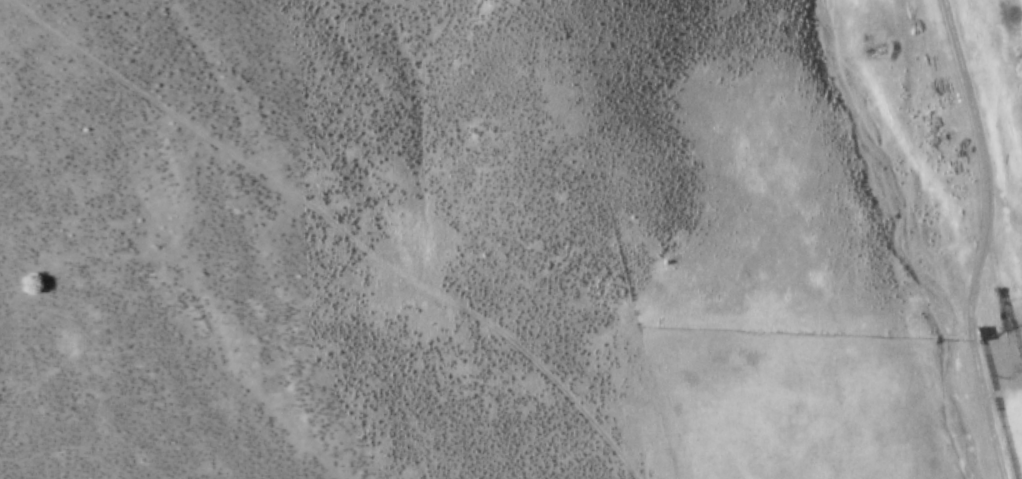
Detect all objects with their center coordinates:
road: (1018, 54)
road: (972, 324)

